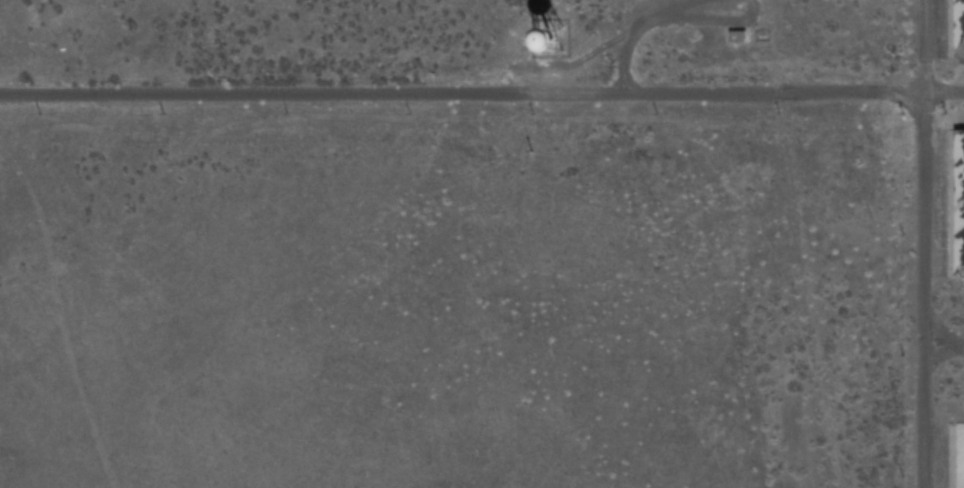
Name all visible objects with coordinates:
building: (956, 27)
building: (550, 35)
storage tank: (550, 35)
building: (736, 37)
road: (462, 94)
building: (957, 202)
road: (924, 243)
building: (959, 455)

